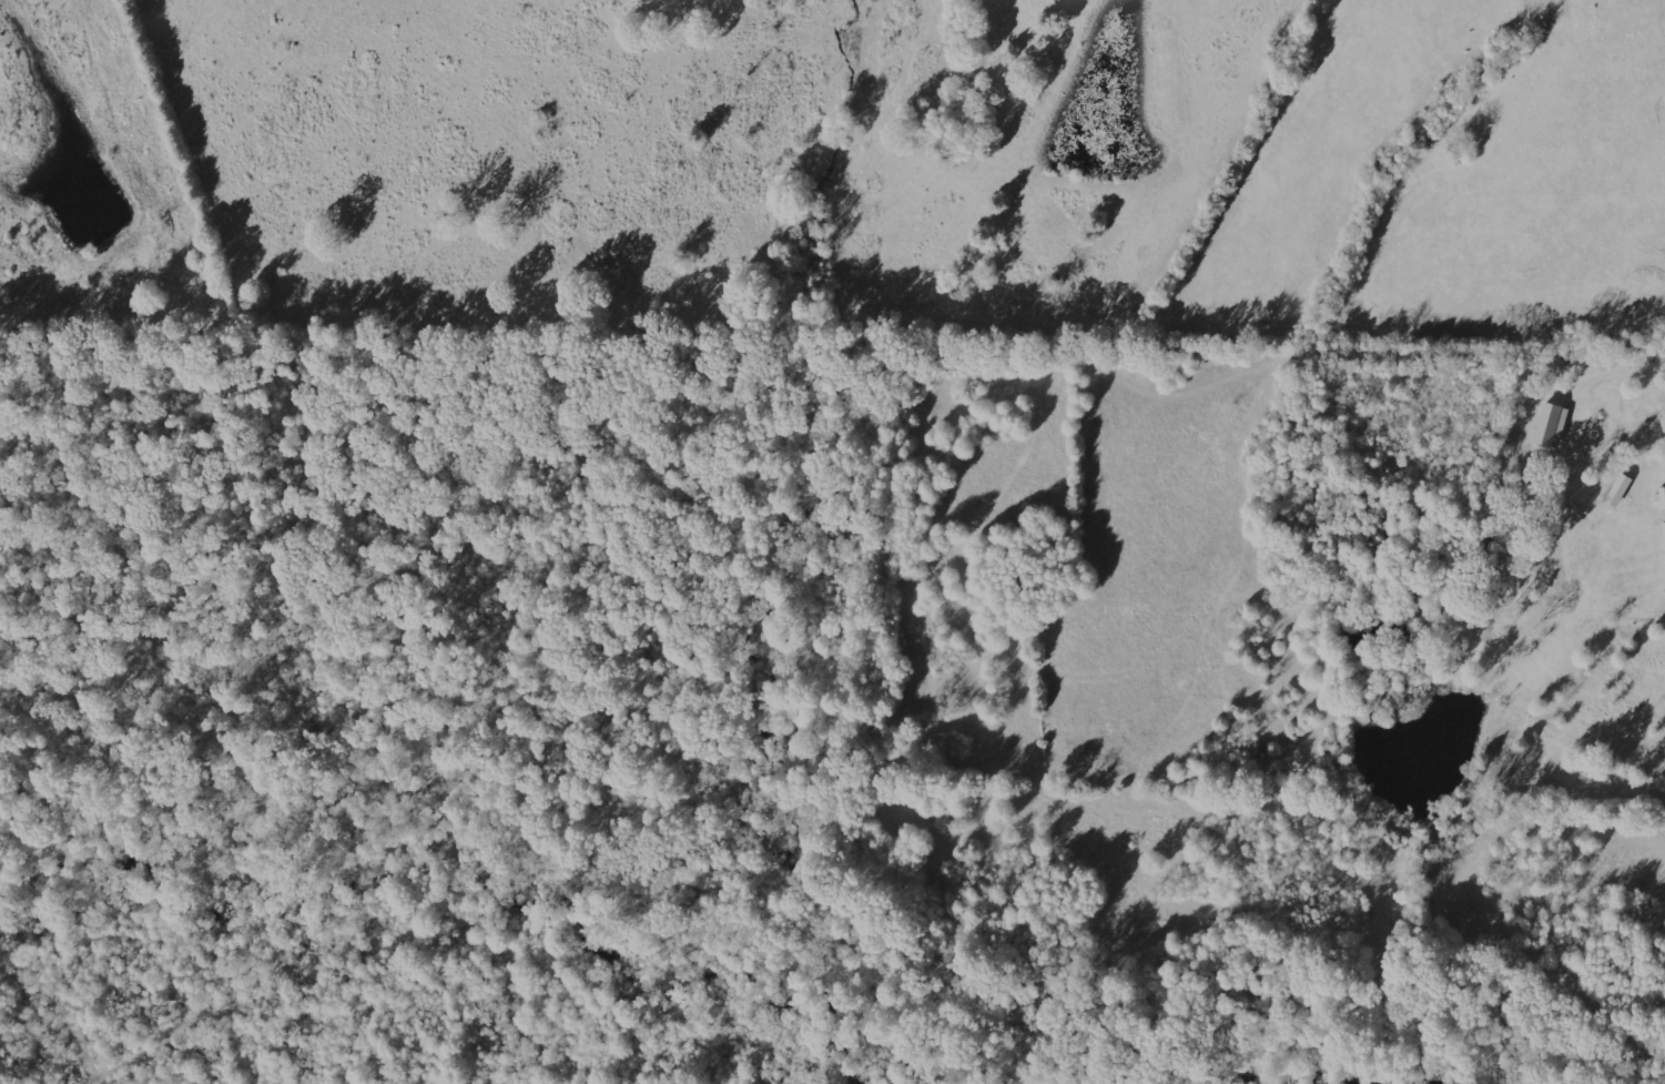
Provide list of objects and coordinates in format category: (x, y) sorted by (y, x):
building: (1607, 408)
building: (1551, 425)

